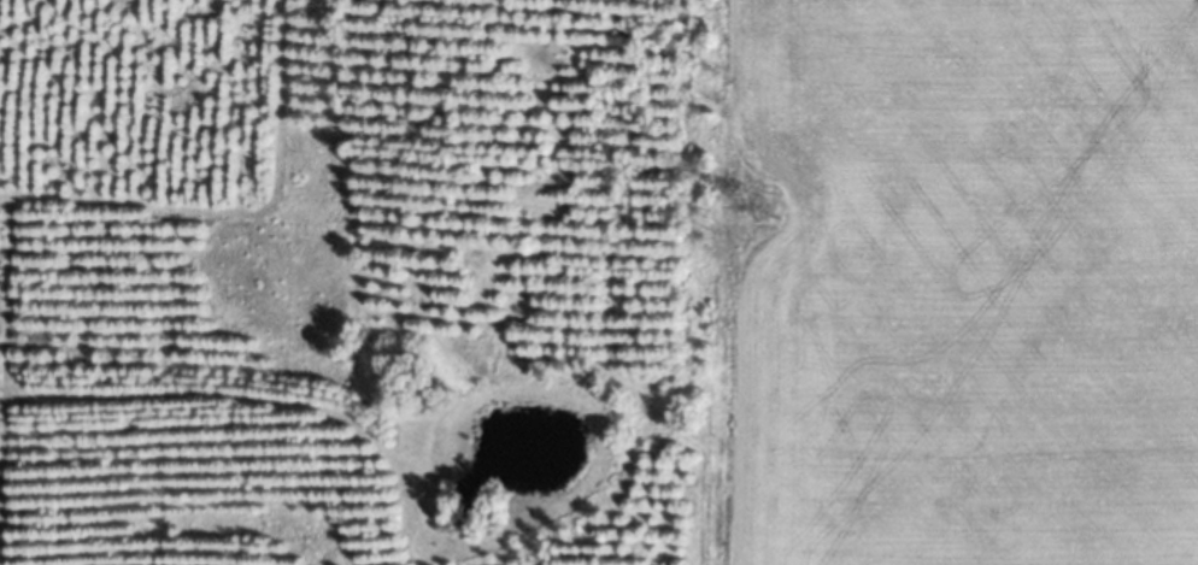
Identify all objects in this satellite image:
power tower: (767, 206)

